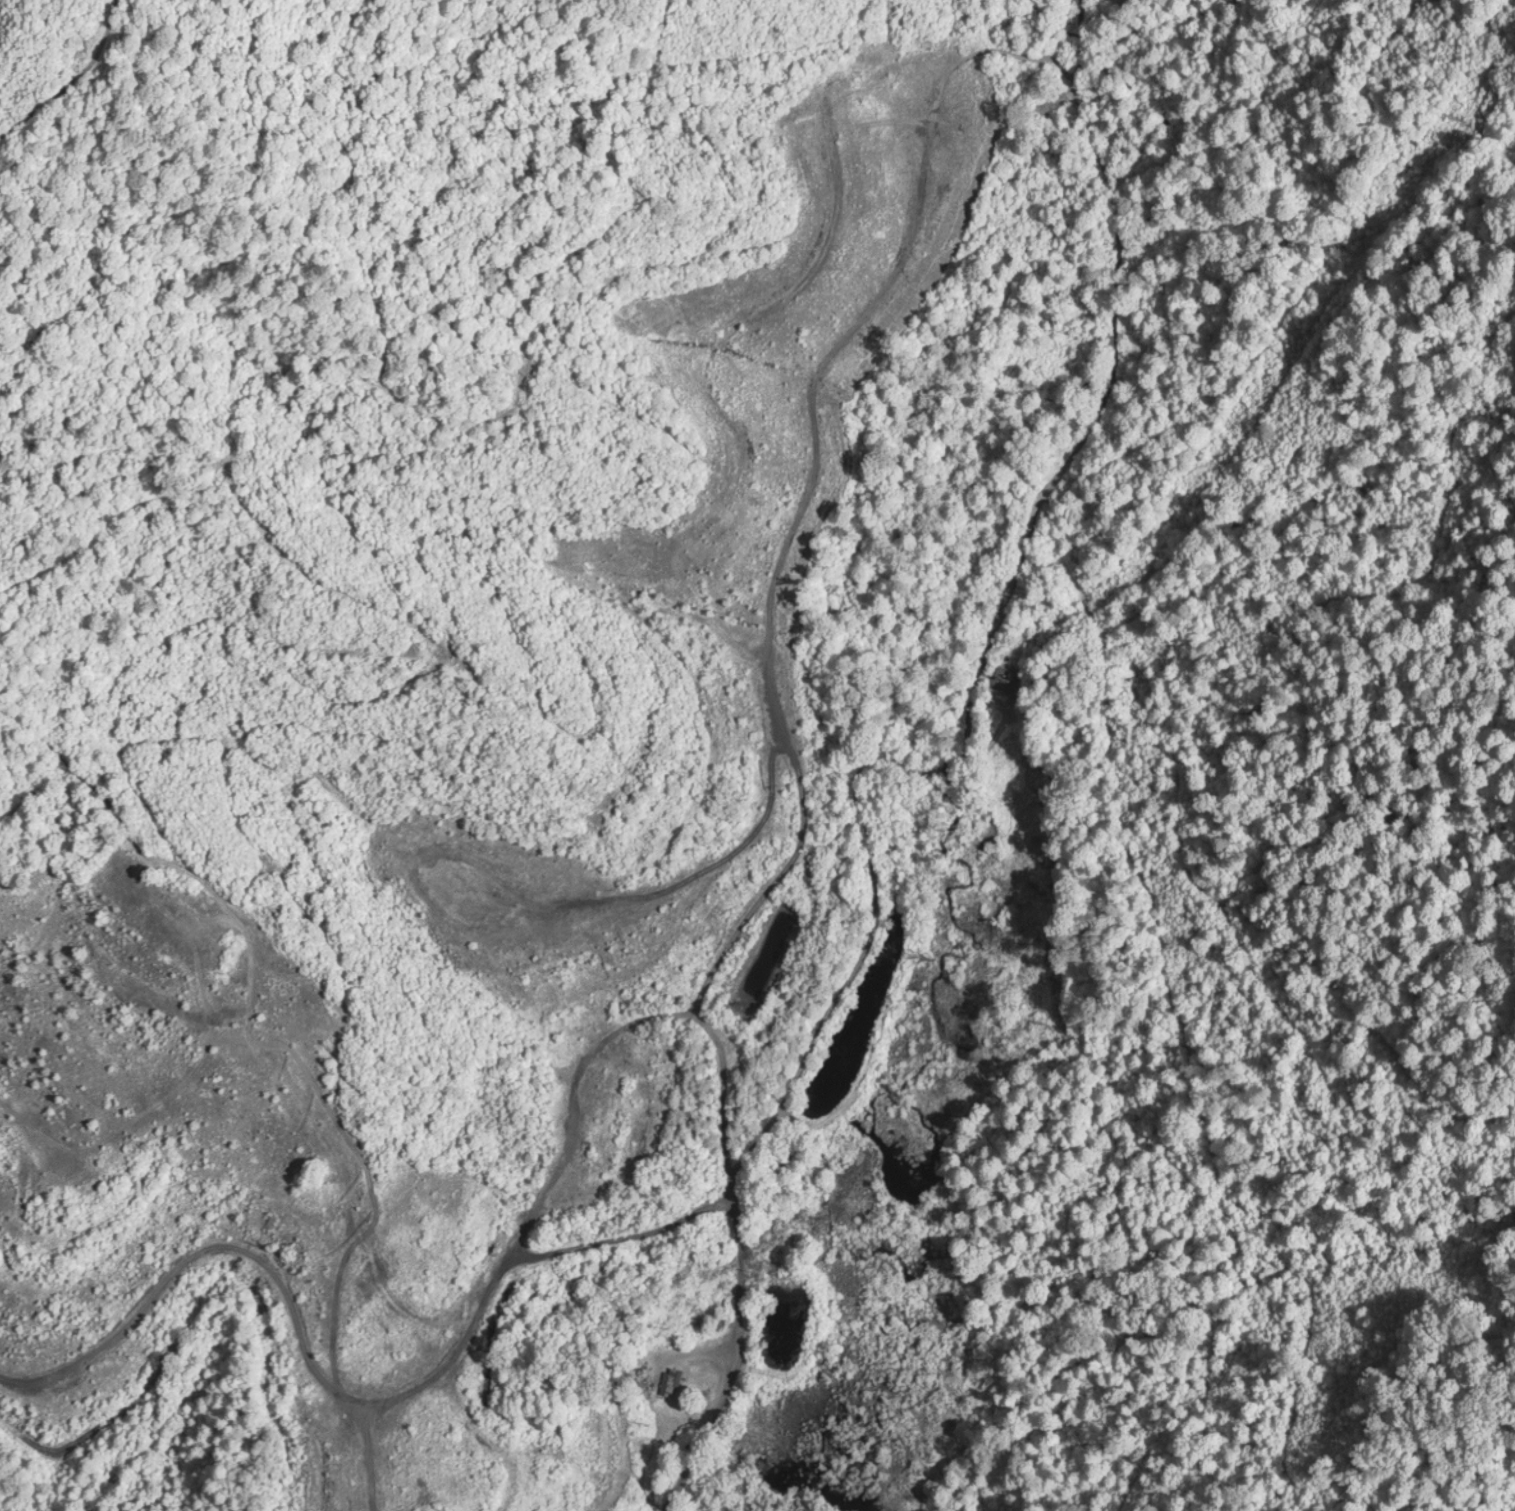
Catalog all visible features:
quarry: (486, 822)
building: (597, 1120)
road: (728, 1356)
building: (669, 1381)

